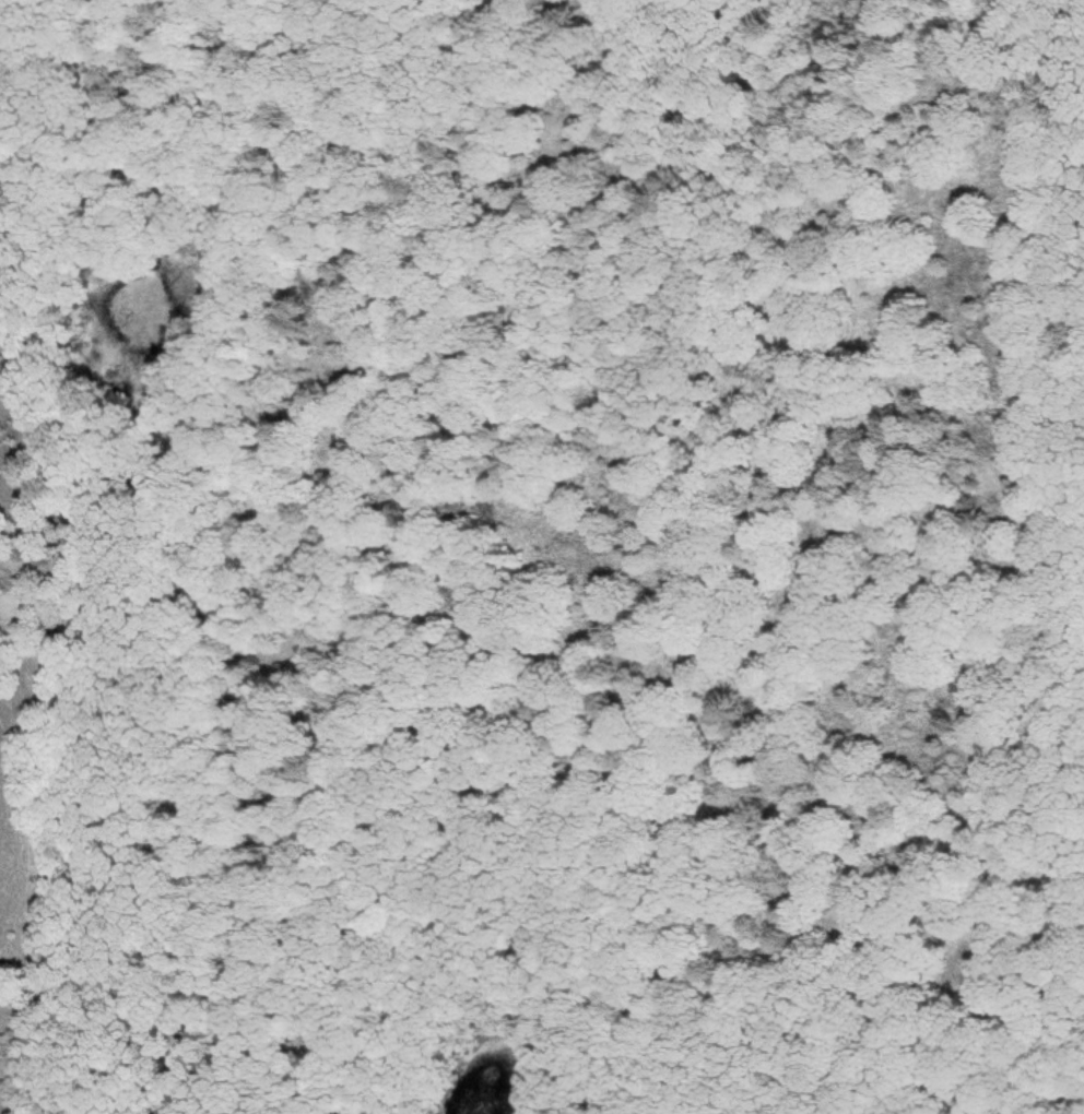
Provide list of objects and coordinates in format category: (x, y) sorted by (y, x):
park: (542, 557)

